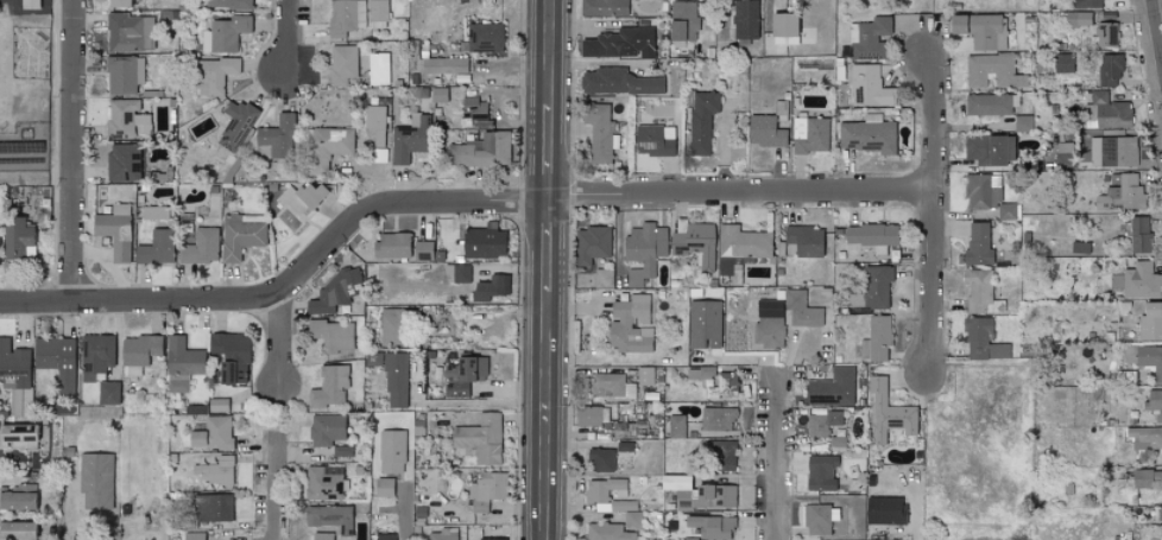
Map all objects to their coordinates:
building: (30, 4)
building: (118, 4)
building: (1085, 4)
building: (228, 5)
building: (604, 7)
building: (354, 14)
building: (745, 19)
building: (1076, 19)
building: (682, 20)
building: (781, 26)
building: (980, 30)
building: (125, 33)
building: (225, 33)
building: (1106, 33)
road: (1155, 37)
road: (288, 38)
building: (484, 38)
building: (869, 38)
building: (619, 43)
road: (550, 52)
building: (1063, 63)
building: (342, 64)
building: (446, 65)
building: (378, 69)
building: (1109, 70)
building: (992, 71)
building: (124, 75)
building: (211, 76)
building: (618, 82)
building: (867, 87)
building: (437, 94)
building: (989, 104)
building: (474, 108)
building: (1105, 112)
building: (126, 119)
building: (701, 121)
building: (1022, 122)
building: (235, 123)
building: (375, 123)
building: (598, 131)
building: (764, 131)
building: (809, 134)
building: (869, 135)
building: (277, 138)
building: (409, 139)
building: (653, 140)
building: (328, 146)
building: (989, 148)
road: (78, 150)
road: (549, 150)
building: (481, 151)
building: (1112, 152)
building: (379, 154)
building: (124, 161)
road: (38, 177)
road: (741, 191)
building: (1122, 195)
building: (298, 204)
building: (1006, 211)
road: (934, 215)
building: (114, 231)
building: (1138, 235)
building: (241, 236)
building: (871, 236)
building: (18, 240)
building: (804, 240)
building: (694, 242)
building: (743, 242)
building: (482, 243)
road: (548, 243)
building: (391, 244)
building: (591, 244)
building: (978, 244)
building: (156, 247)
building: (202, 247)
building: (422, 250)
building: (644, 250)
building: (459, 273)
building: (602, 278)
building: (1141, 281)
road: (289, 286)
building: (487, 288)
building: (873, 288)
building: (977, 291)
building: (333, 293)
building: (785, 319)
building: (1150, 322)
building: (703, 324)
building: (630, 325)
building: (391, 326)
building: (331, 333)
road: (279, 339)
building: (876, 339)
building: (983, 341)
building: (140, 349)
building: (99, 352)
building: (230, 357)
building: (56, 360)
building: (1150, 360)
building: (182, 363)
building: (700, 373)
building: (463, 374)
building: (645, 375)
building: (14, 376)
building: (396, 380)
building: (330, 386)
building: (611, 386)
building: (722, 386)
building: (832, 389)
building: (109, 393)
road: (474, 402)
building: (217, 405)
road: (276, 408)
building: (889, 413)
building: (591, 415)
road: (545, 417)
building: (718, 419)
building: (822, 424)
building: (676, 426)
building: (326, 430)
building: (213, 433)
building: (18, 437)
building: (1145, 437)
building: (480, 439)
building: (392, 451)
building: (715, 456)
building: (600, 460)
road: (776, 462)
building: (215, 470)
building: (820, 474)
building: (1156, 475)
building: (1141, 478)
building: (96, 481)
building: (324, 484)
road: (272, 485)
building: (385, 487)
building: (487, 490)
building: (697, 494)
building: (17, 498)
road: (69, 500)
building: (213, 508)
building: (884, 510)
road: (409, 513)
building: (1161, 513)
building: (331, 517)
building: (632, 519)
building: (816, 520)
building: (712, 527)
building: (15, 531)
building: (608, 532)
building: (1161, 532)
road: (914, 533)
building: (194, 536)
building: (322, 536)
building: (384, 536)
building: (441, 536)
building: (492, 539)

